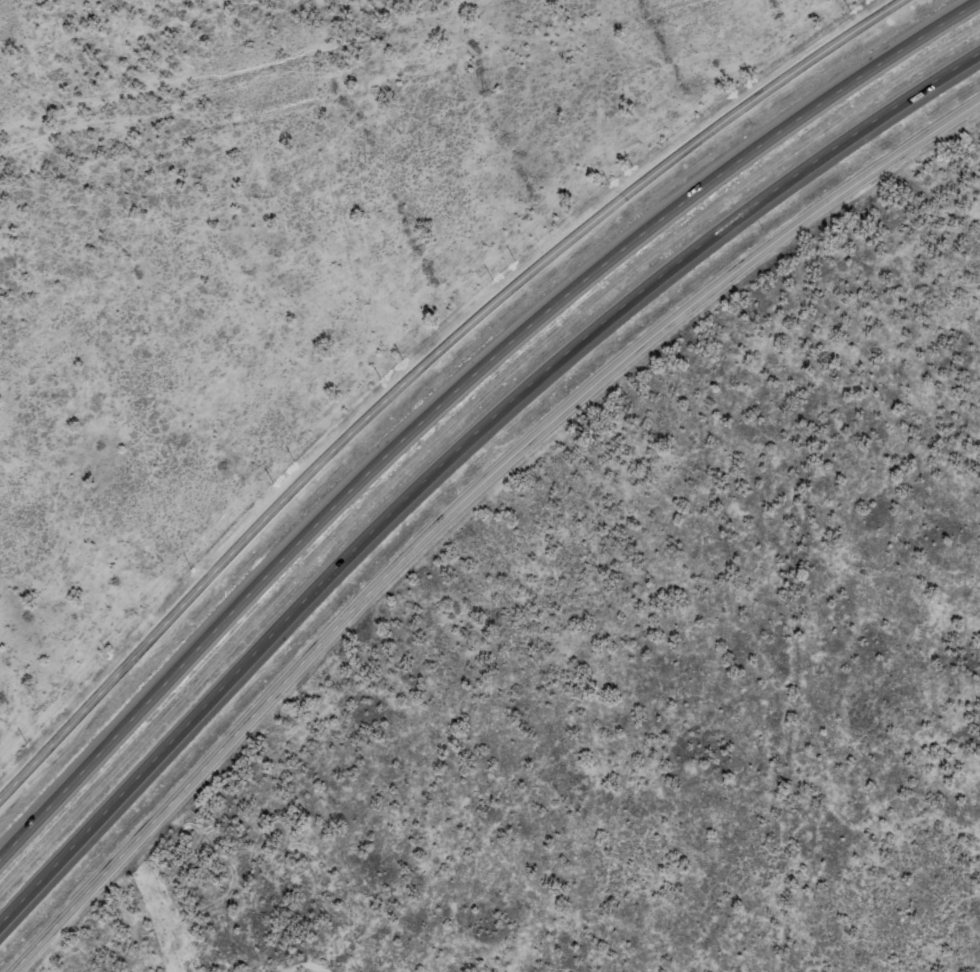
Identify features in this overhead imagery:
road: (737, 107)
road: (522, 275)
road: (454, 389)
road: (456, 448)
road: (463, 500)
road: (230, 560)

